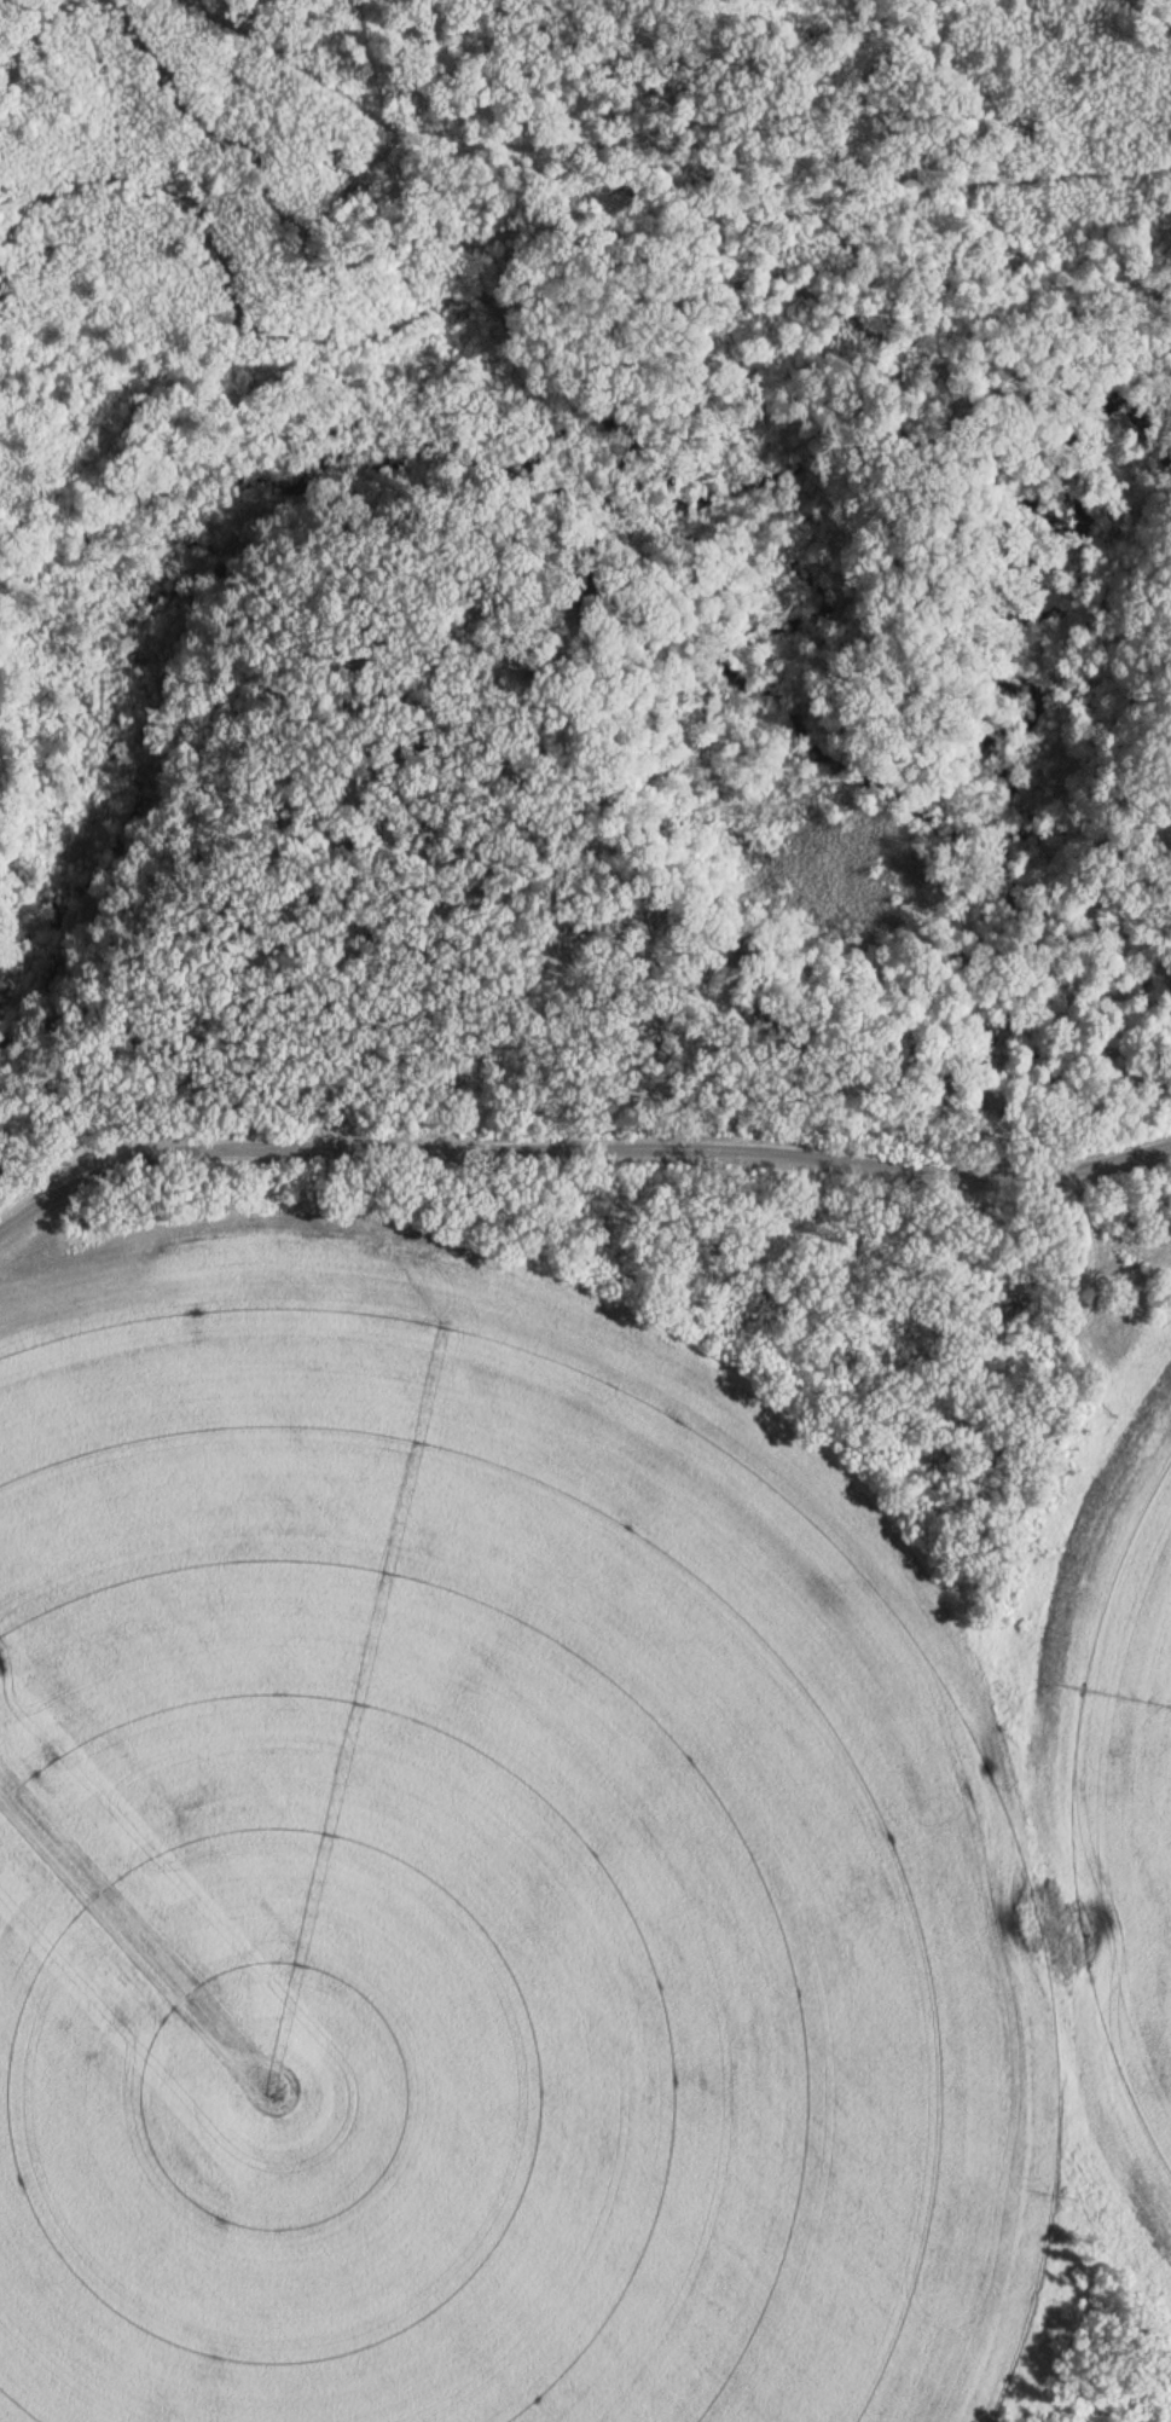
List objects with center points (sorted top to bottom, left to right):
road: (41, 41)
road: (669, 126)
road: (1031, 262)
road: (950, 272)
road: (905, 418)
road: (567, 628)
road: (1164, 790)
road: (522, 980)
road: (579, 1140)
wastewater plant: (591, 1785)

